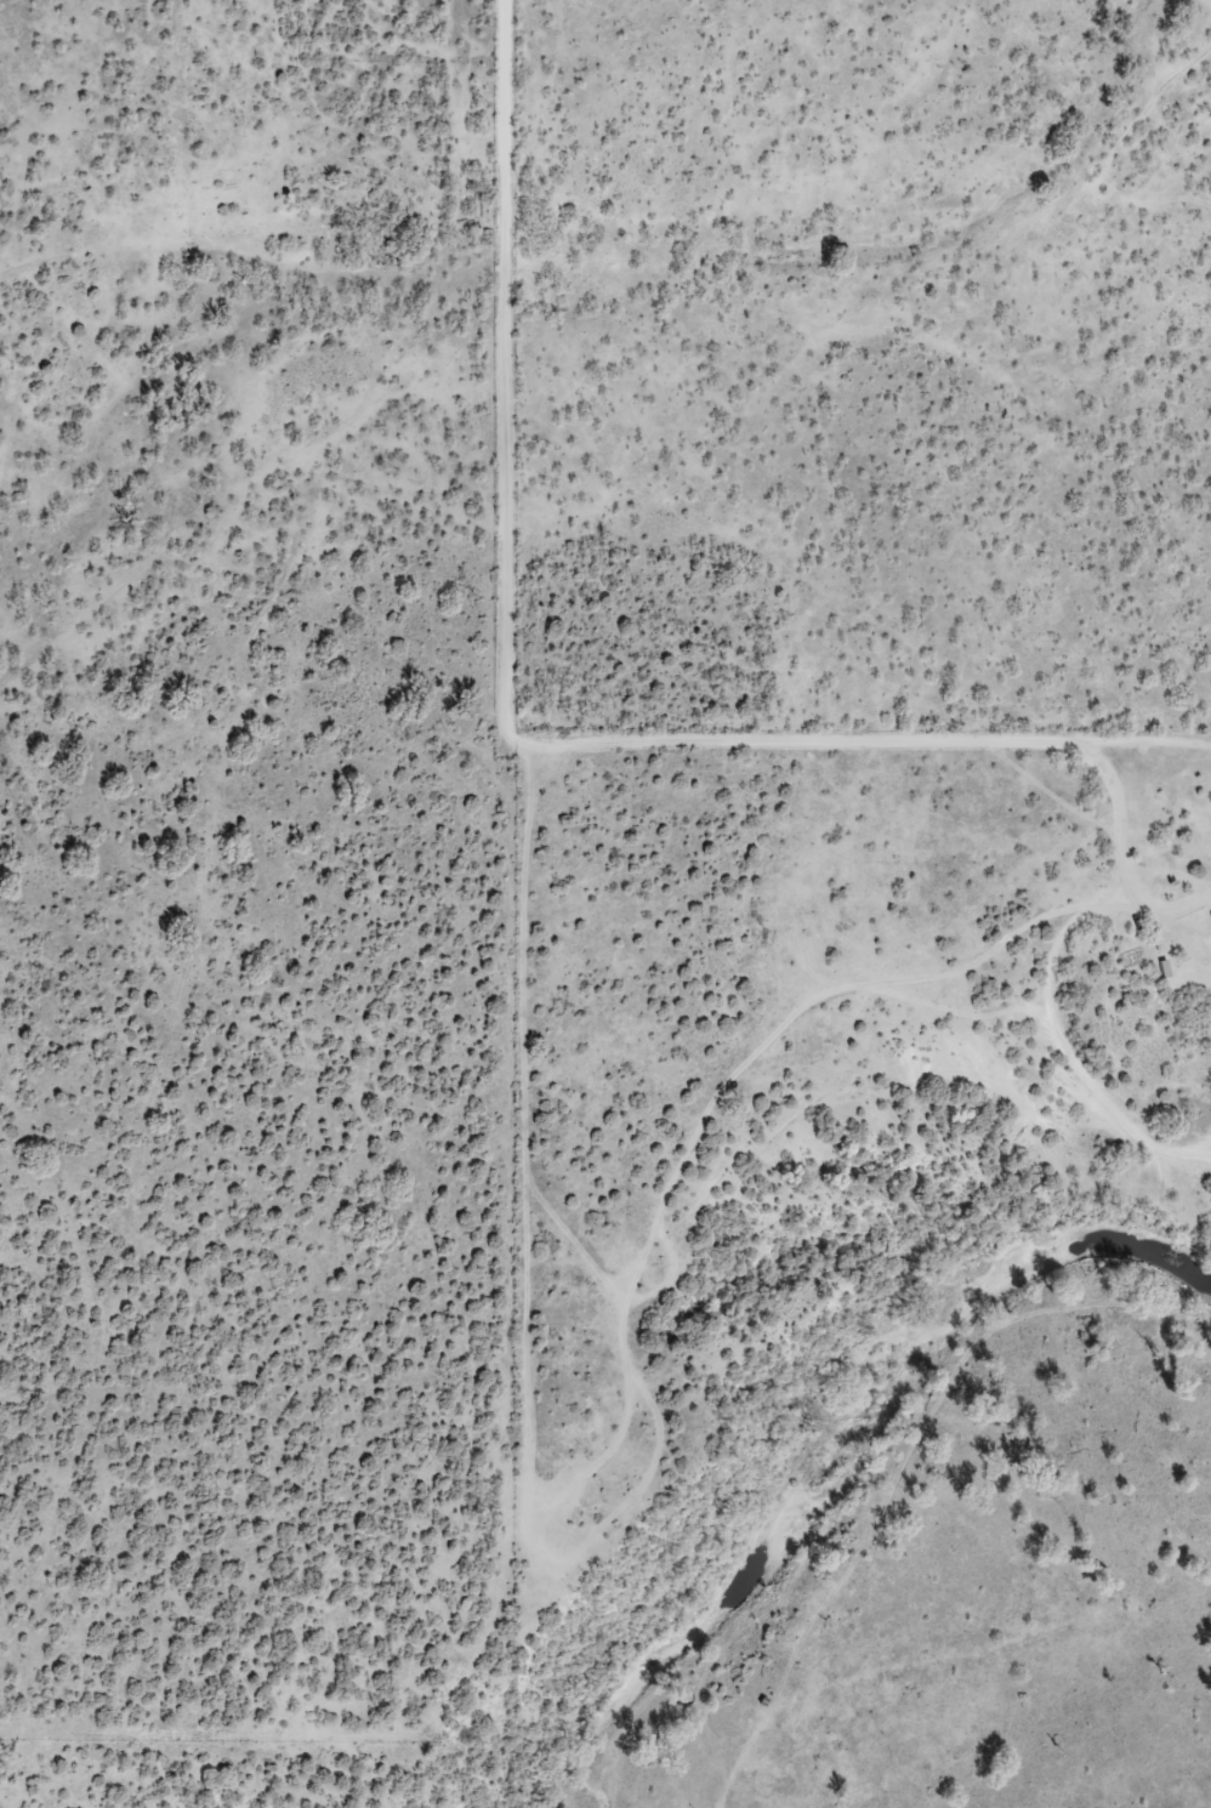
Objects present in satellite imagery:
road: (159, 123)
road: (167, 553)
road: (561, 744)
road: (271, 829)
road: (510, 869)
road: (929, 976)
road: (764, 1031)

